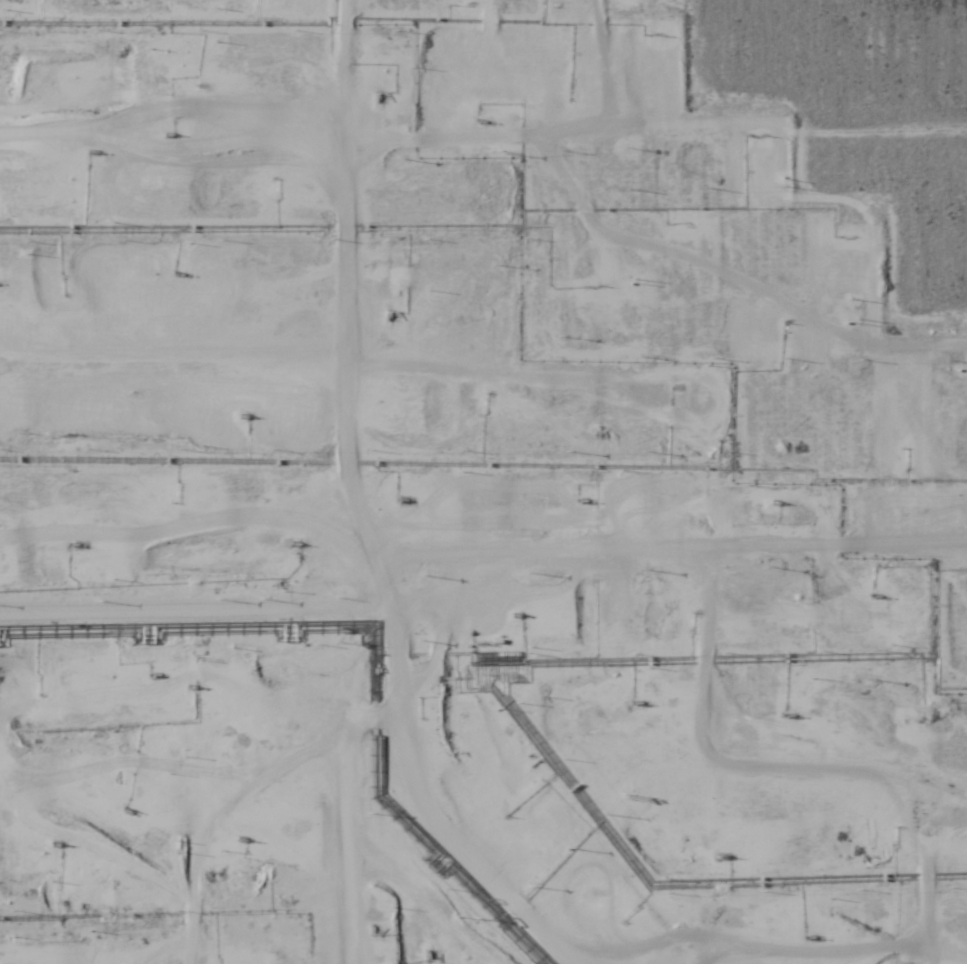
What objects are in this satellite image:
road: (399, 129)
road: (376, 481)
road: (483, 560)

